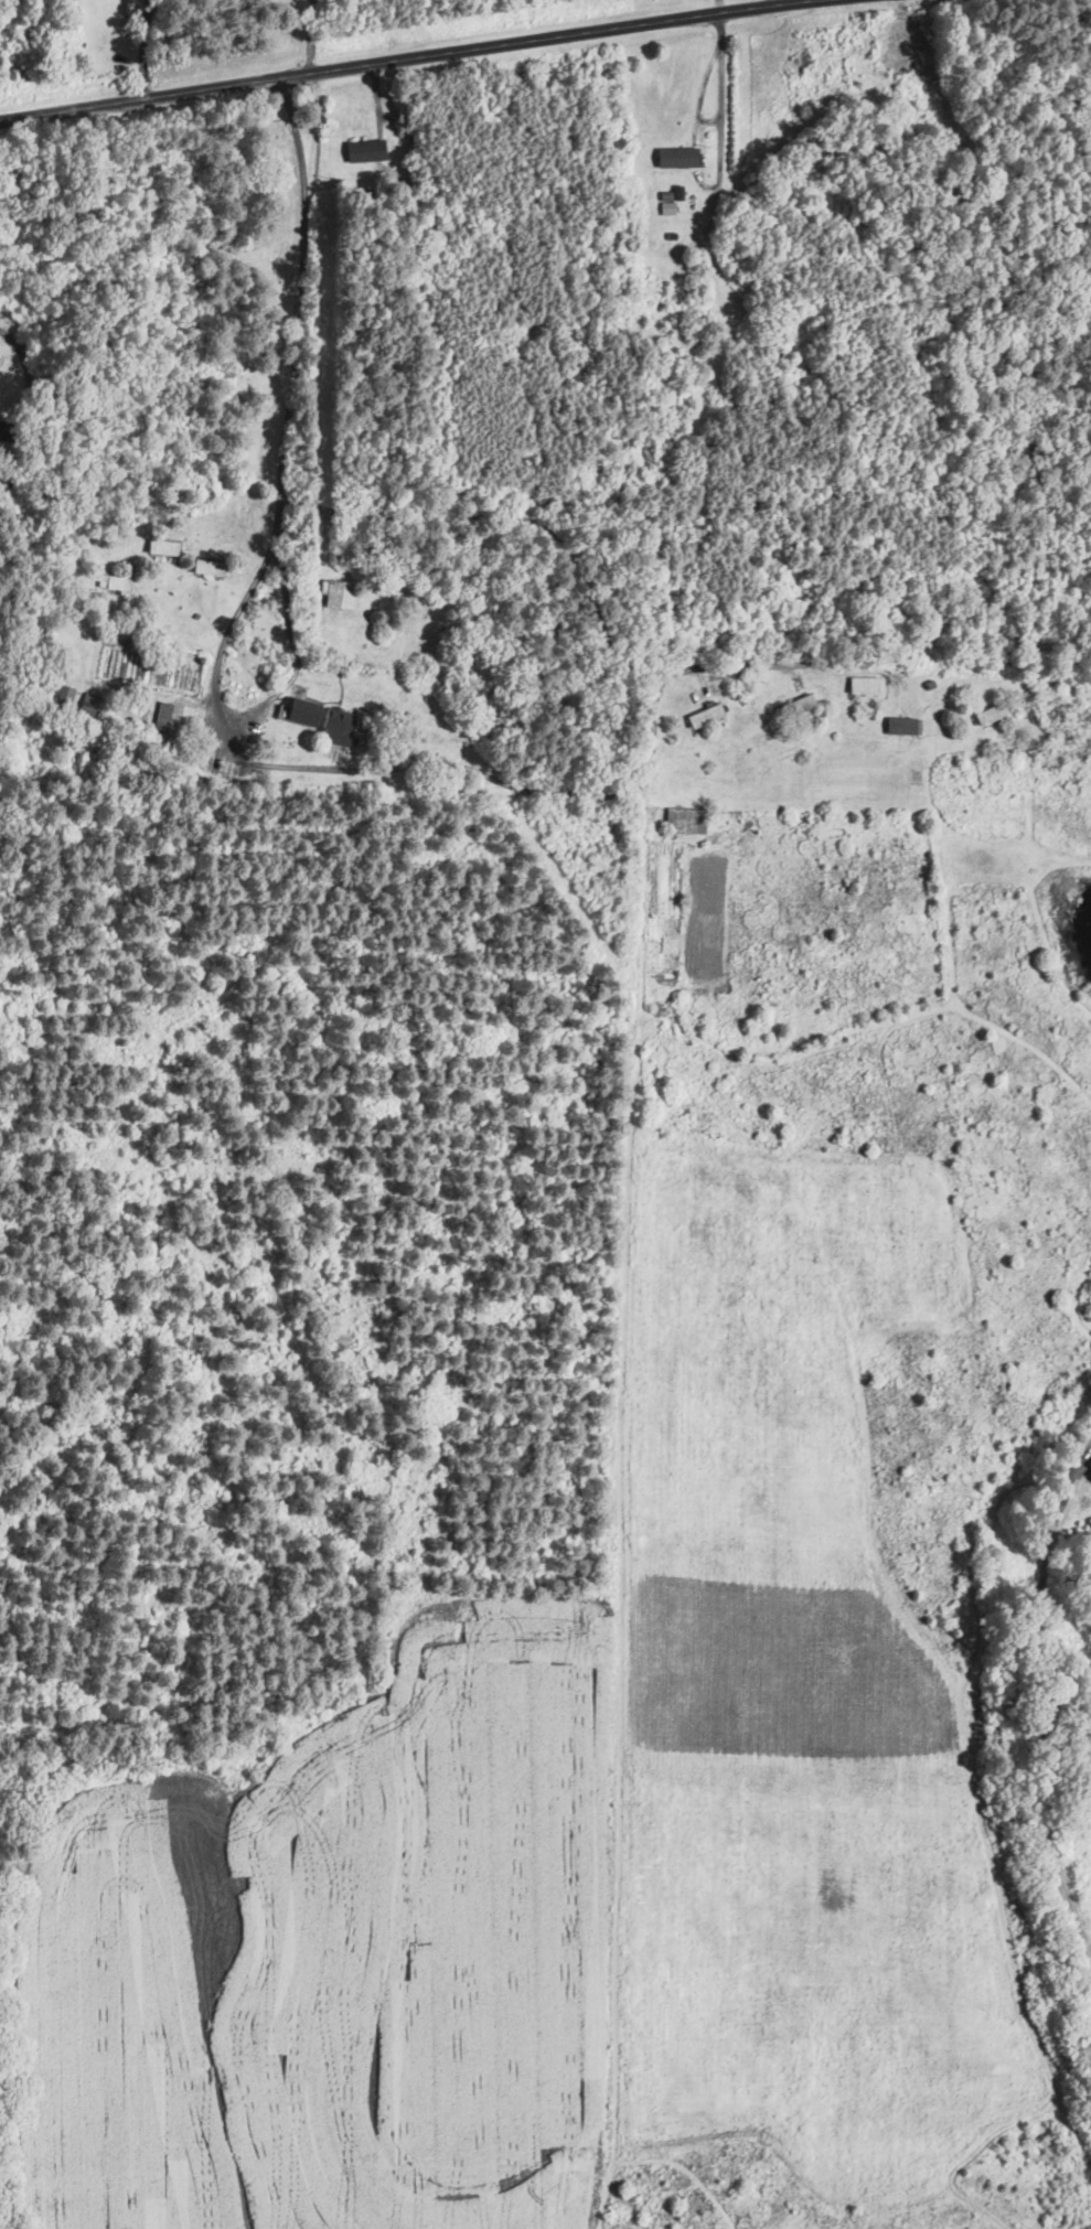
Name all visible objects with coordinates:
road: (310, 34)
road: (394, 56)
building: (796, 67)
road: (719, 116)
building: (363, 150)
building: (674, 157)
building: (675, 192)
building: (670, 208)
building: (674, 234)
road: (35, 401)
building: (160, 547)
building: (204, 567)
building: (111, 582)
building: (335, 594)
road: (296, 642)
building: (180, 678)
building: (862, 685)
building: (62, 695)
building: (88, 703)
building: (299, 711)
building: (988, 714)
building: (702, 715)
building: (171, 717)
building: (333, 726)
building: (901, 726)
road: (264, 763)
building: (684, 819)
building: (1090, 1464)
building: (1089, 1476)
road: (1042, 1736)

